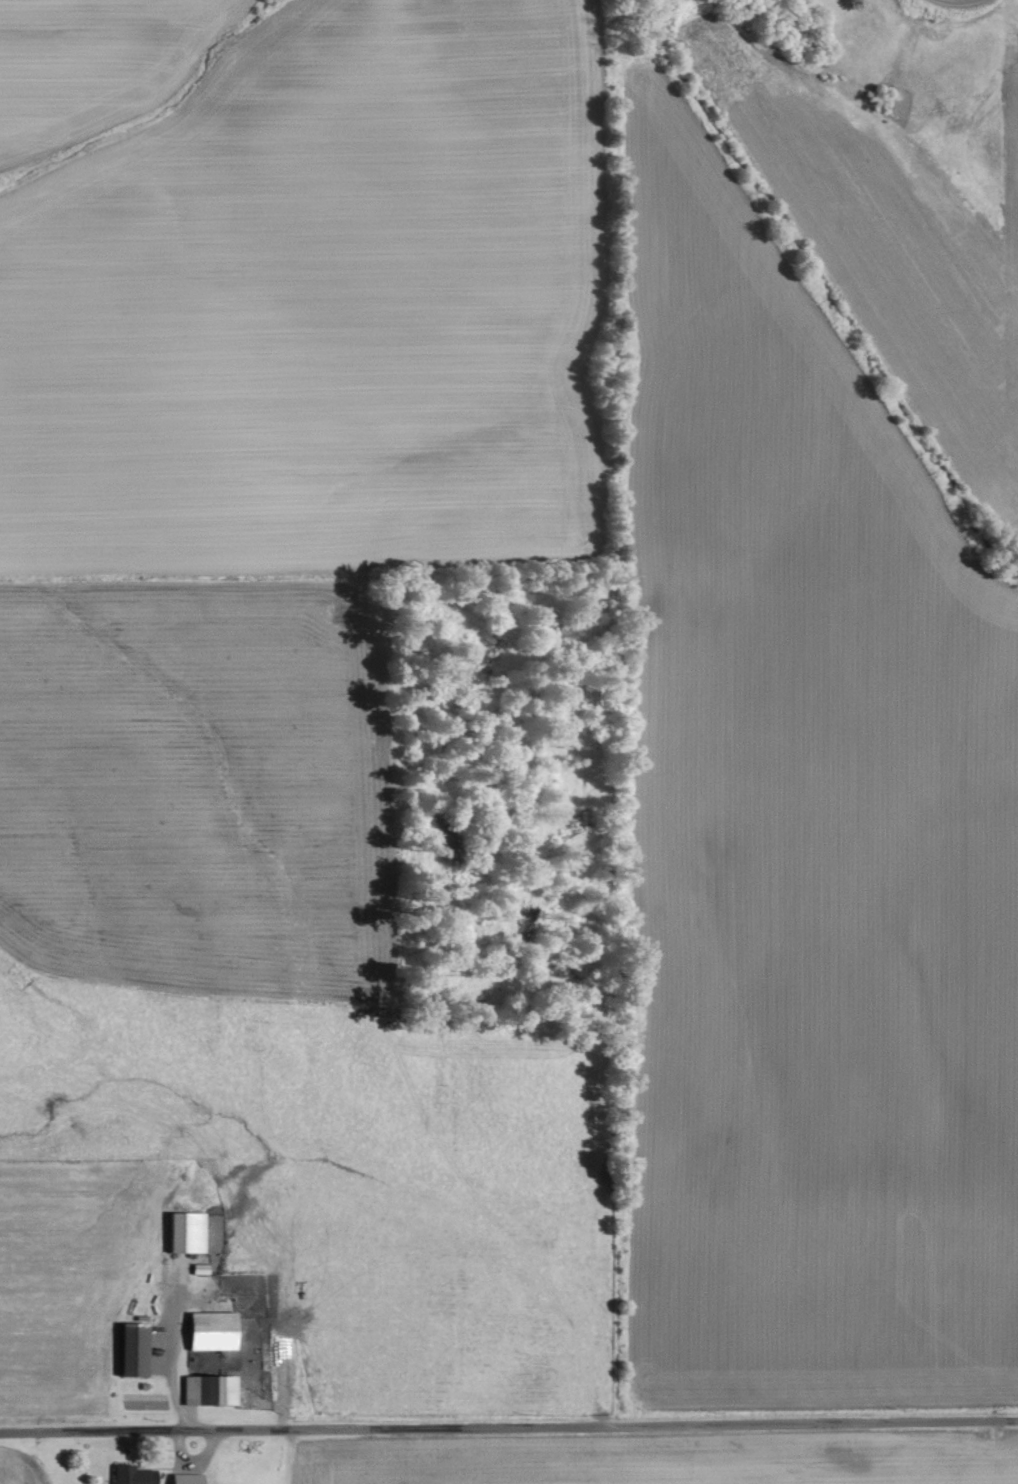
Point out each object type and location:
road: (962, 10)
road: (508, 1431)

